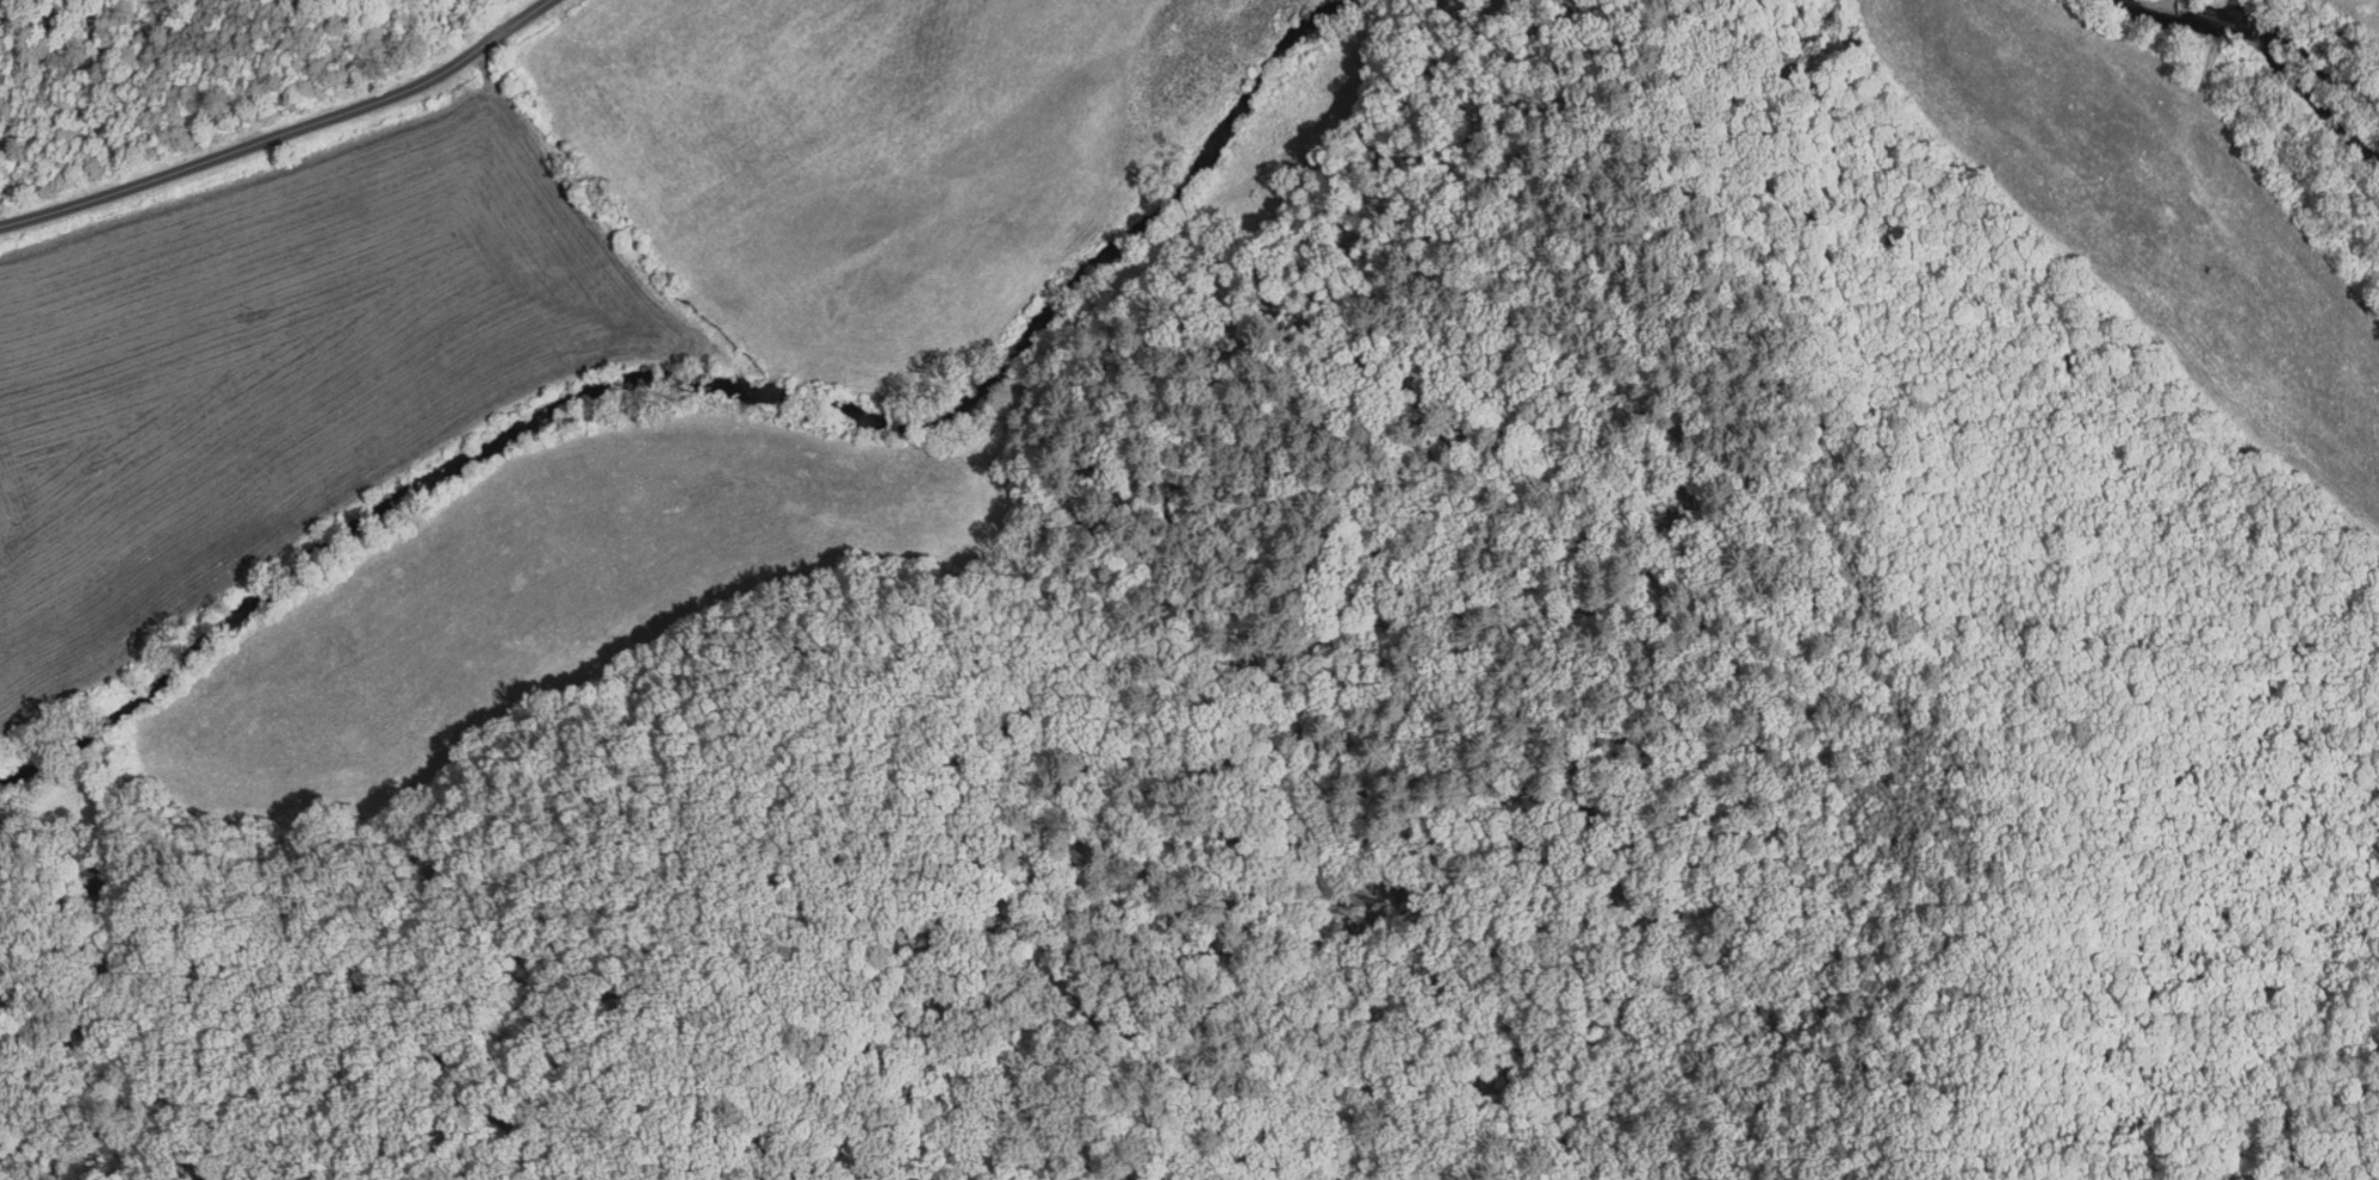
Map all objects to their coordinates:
road: (281, 131)

